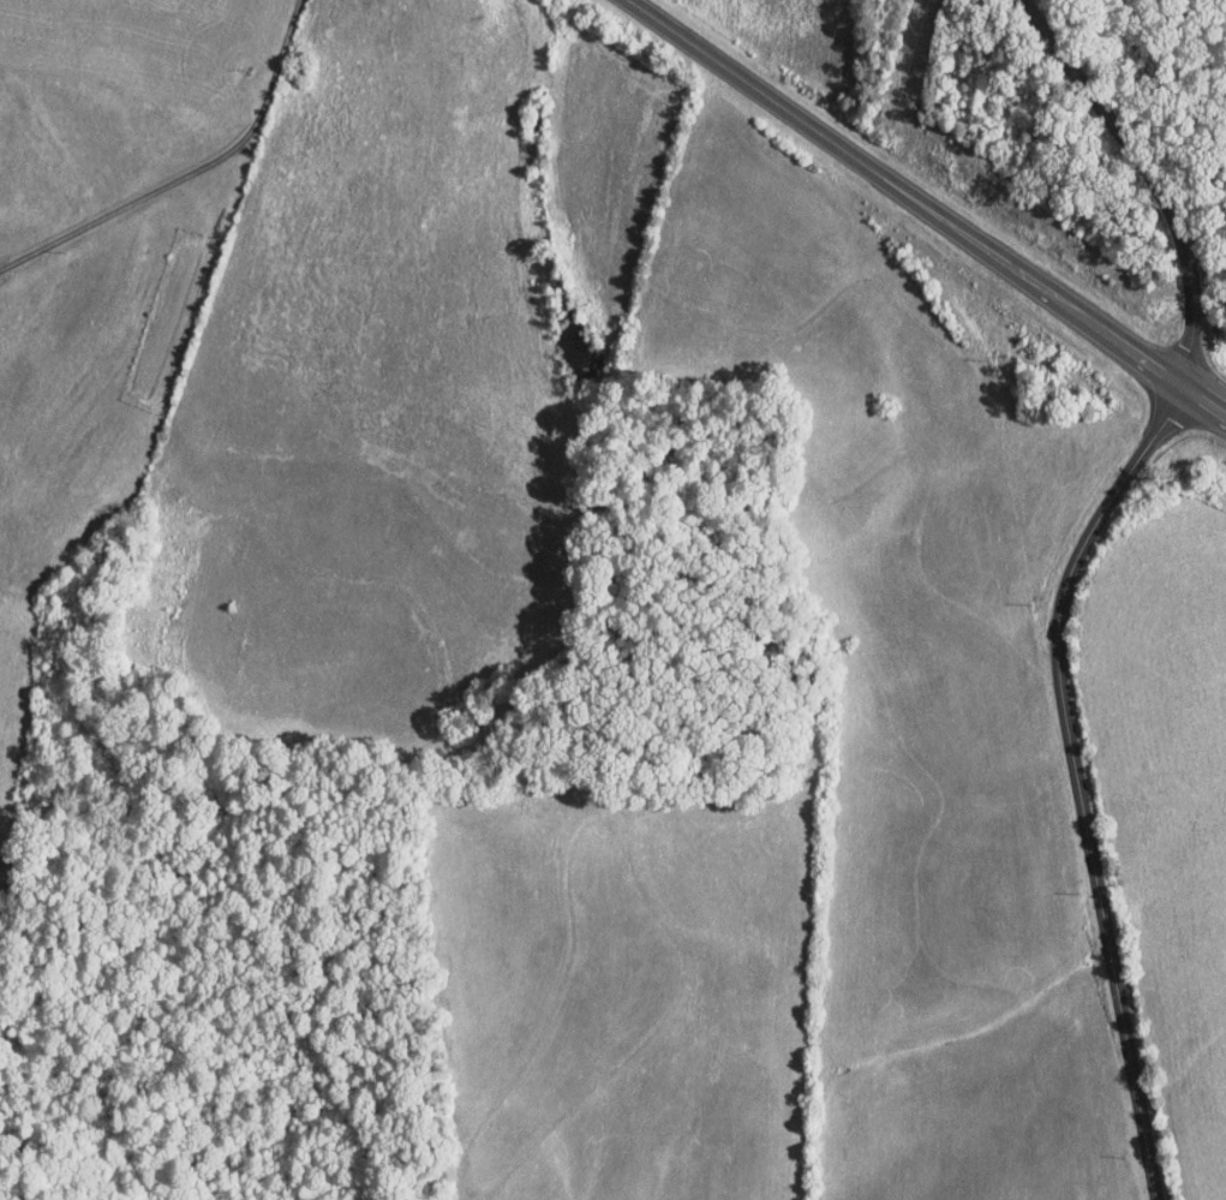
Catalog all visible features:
road: (1147, 180)
road: (927, 209)
road: (1080, 778)

